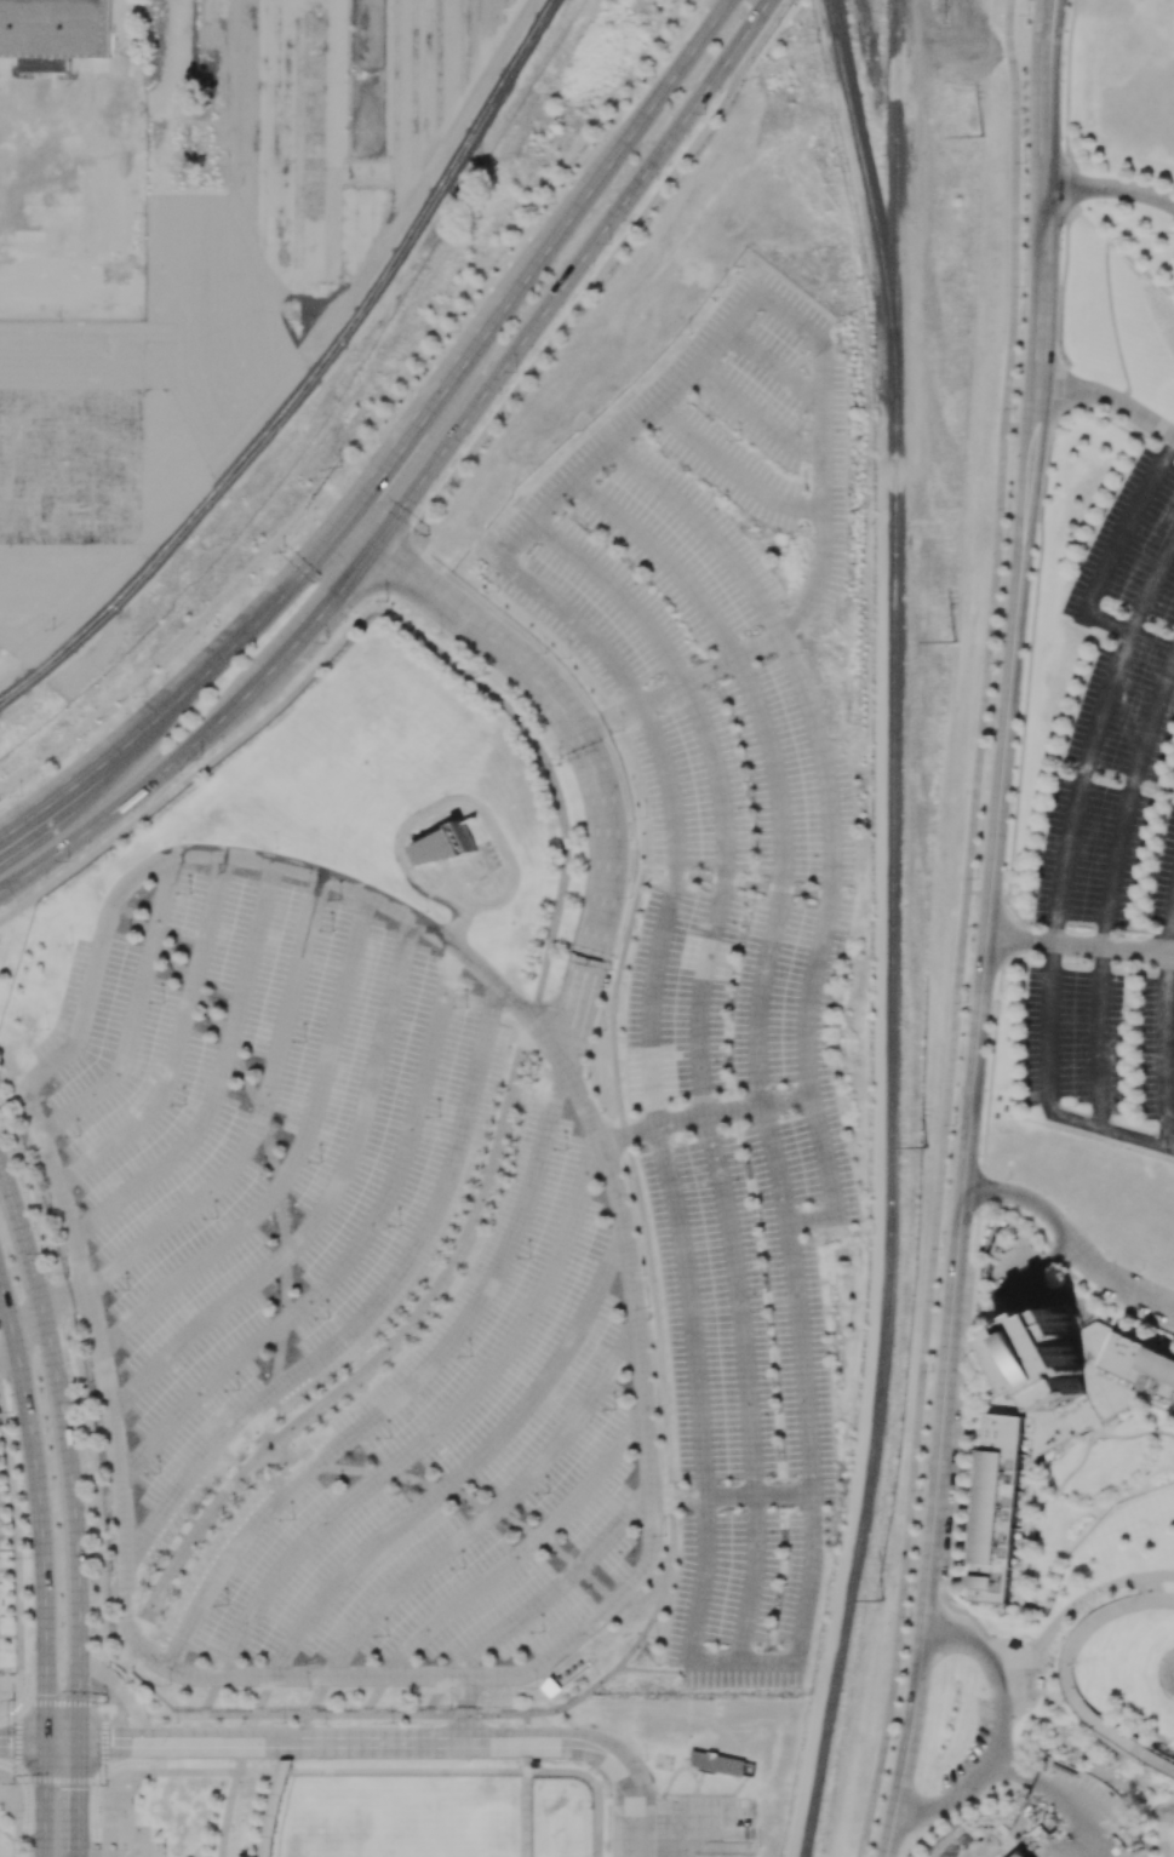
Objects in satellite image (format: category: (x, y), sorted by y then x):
road: (757, 18)
railway: (830, 18)
road: (1049, 21)
building: (55, 28)
road: (769, 36)
building: (42, 64)
road: (1044, 114)
power tower: (979, 136)
road: (1110, 188)
railway: (869, 197)
railway: (897, 199)
road: (1029, 217)
road: (531, 262)
road: (1041, 287)
road: (556, 293)
road: (579, 302)
road: (772, 367)
railway: (310, 377)
road: (820, 380)
road: (1110, 399)
road: (755, 417)
road: (1019, 426)
road: (733, 466)
traffic signals: (362, 492)
road: (353, 539)
road: (1113, 548)
road: (391, 568)
traffic signals: (403, 575)
parking lot: (709, 584)
traffic signals: (337, 595)
power tower: (952, 644)
road: (218, 650)
road: (199, 735)
road: (588, 756)
road: (771, 758)
road: (199, 773)
road: (552, 780)
road: (720, 785)
road: (45, 796)
road: (824, 797)
road: (473, 802)
road: (670, 813)
building: (446, 846)
parking lot: (1112, 846)
road: (1060, 878)
road: (453, 882)
road: (1111, 888)
road: (978, 893)
road: (634, 902)
road: (963, 929)
road: (1079, 946)
road: (979, 1010)
road: (134, 1014)
road: (1164, 1034)
road: (177, 1041)
road: (219, 1077)
road: (732, 1111)
road: (259, 1114)
road: (263, 1124)
railway: (890, 1130)
road: (628, 1134)
power tower: (929, 1147)
road: (293, 1157)
road: (326, 1202)
road: (811, 1221)
road: (1069, 1242)
road: (350, 1250)
parking lot: (741, 1256)
road: (452, 1266)
parking lot: (339, 1285)
road: (796, 1297)
road: (45, 1305)
road: (372, 1307)
road: (691, 1309)
road: (655, 1316)
road: (7, 1351)
building: (1046, 1360)
building: (1139, 1369)
building: (1100, 1386)
road: (745, 1388)
road: (966, 1388)
road: (403, 1391)
road: (437, 1426)
road: (65, 1450)
road: (463, 1471)
road: (434, 1485)
road: (729, 1496)
road: (39, 1509)
building: (1002, 1511)
road: (488, 1513)
road: (15, 1546)
road: (519, 1552)
road: (174, 1565)
road: (924, 1586)
road: (556, 1588)
road: (1141, 1588)
road: (1157, 1588)
road: (663, 1591)
road: (1079, 1599)
road: (1157, 1600)
power tower: (882, 1601)
road: (697, 1604)
road: (804, 1607)
road: (127, 1614)
road: (975, 1626)
road: (945, 1638)
road: (1166, 1666)
road: (1001, 1670)
road: (653, 1672)
road: (1069, 1678)
road: (1013, 1691)
road: (210, 1695)
road: (373, 1695)
road: (435, 1695)
traffic signals: (45, 1696)
road: (998, 1697)
road: (259, 1701)
road: (314, 1702)
road: (575, 1703)
road: (465, 1708)
road: (284, 1715)
road: (496, 1715)
road: (526, 1721)
traffic signals: (8, 1741)
road: (22, 1742)
road: (62, 1742)
traffic signals: (114, 1742)
road: (171, 1742)
road: (245, 1742)
road: (411, 1742)
road: (527, 1742)
road: (293, 1743)
road: (906, 1747)
parking lot: (974, 1752)
road: (609, 1753)
road: (1162, 1761)
building: (718, 1763)
road: (527, 1764)
road: (314, 1771)
road: (1015, 1771)
road: (16, 1778)
road: (1, 1779)
road: (10, 1781)
road: (1, 1782)
road: (594, 1786)
traffic signals: (79, 1789)
road: (44, 1799)
road: (78, 1799)
road: (951, 1800)
road: (228, 1806)
building: (275, 1806)
road: (273, 1807)
road: (527, 1813)
road: (15, 1818)
road: (1063, 1818)
road: (637, 1827)
parking lot: (682, 1828)
building: (1020, 1855)

